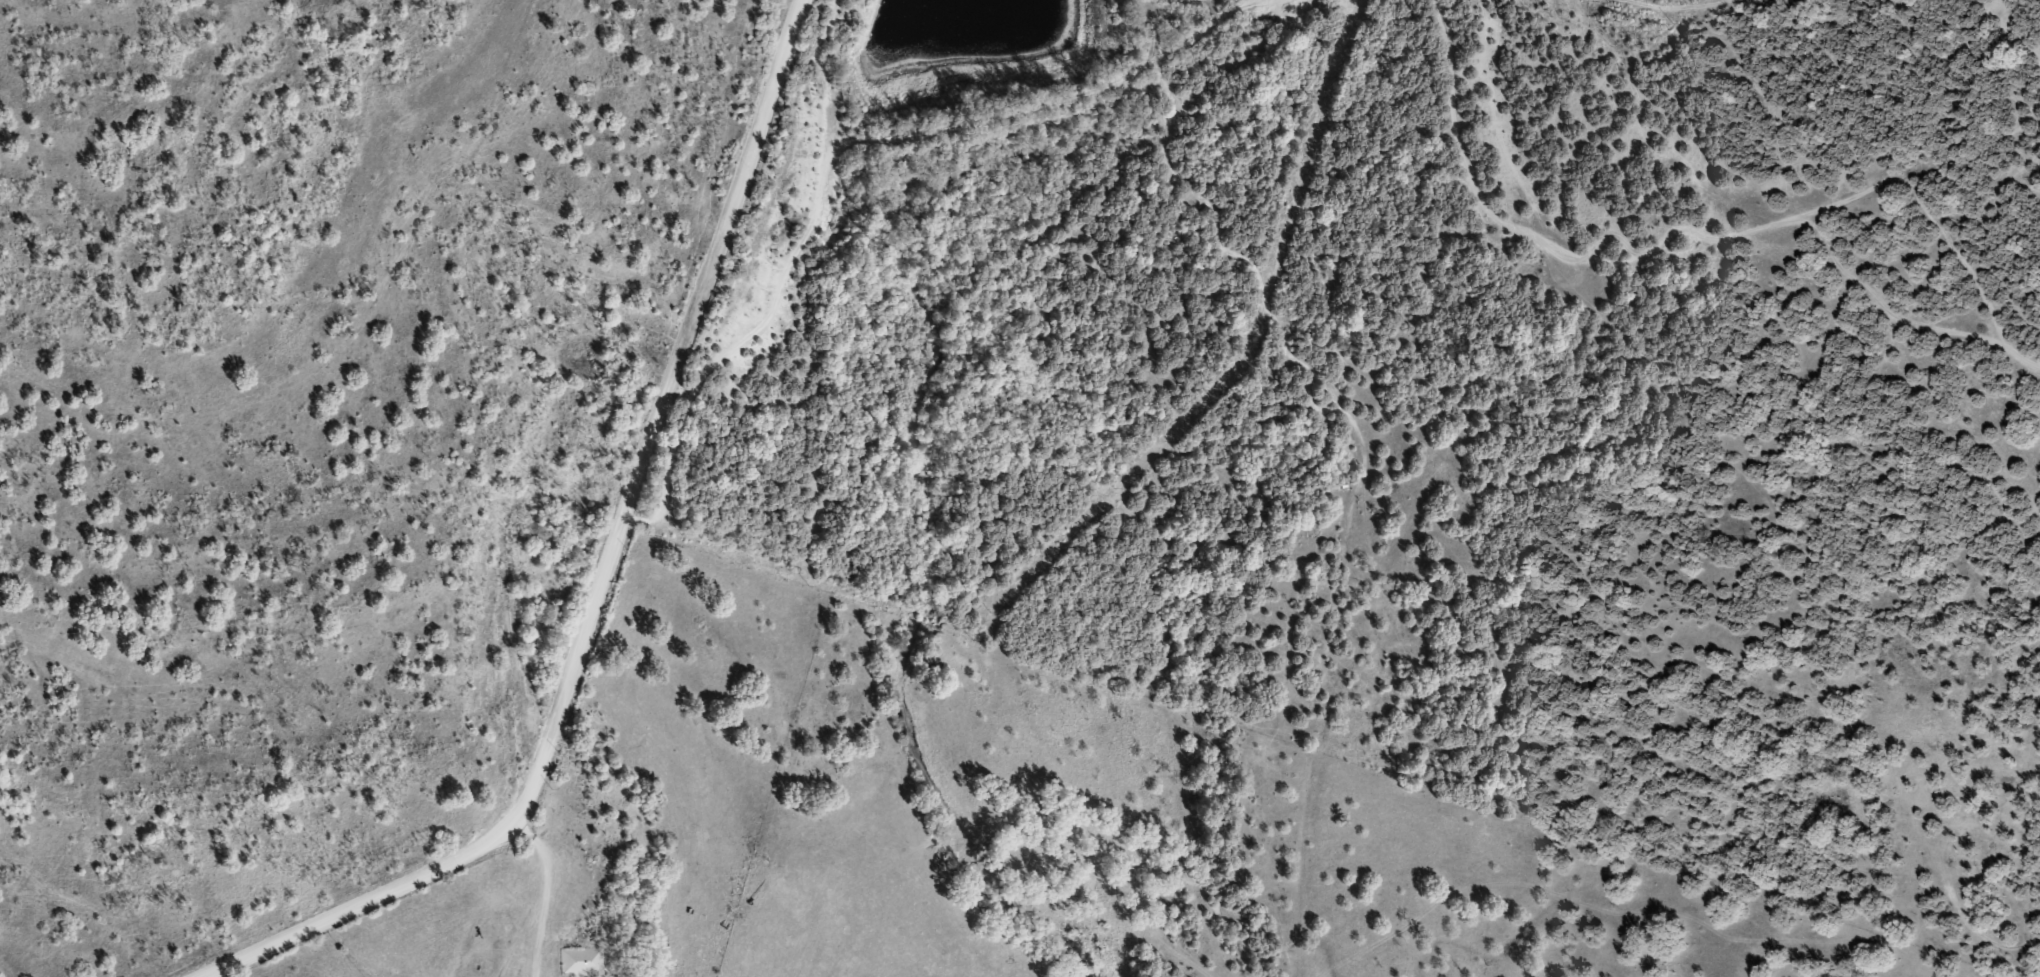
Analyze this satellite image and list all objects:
road: (1322, 54)
road: (708, 263)
road: (628, 783)
road: (503, 830)
building: (585, 960)

